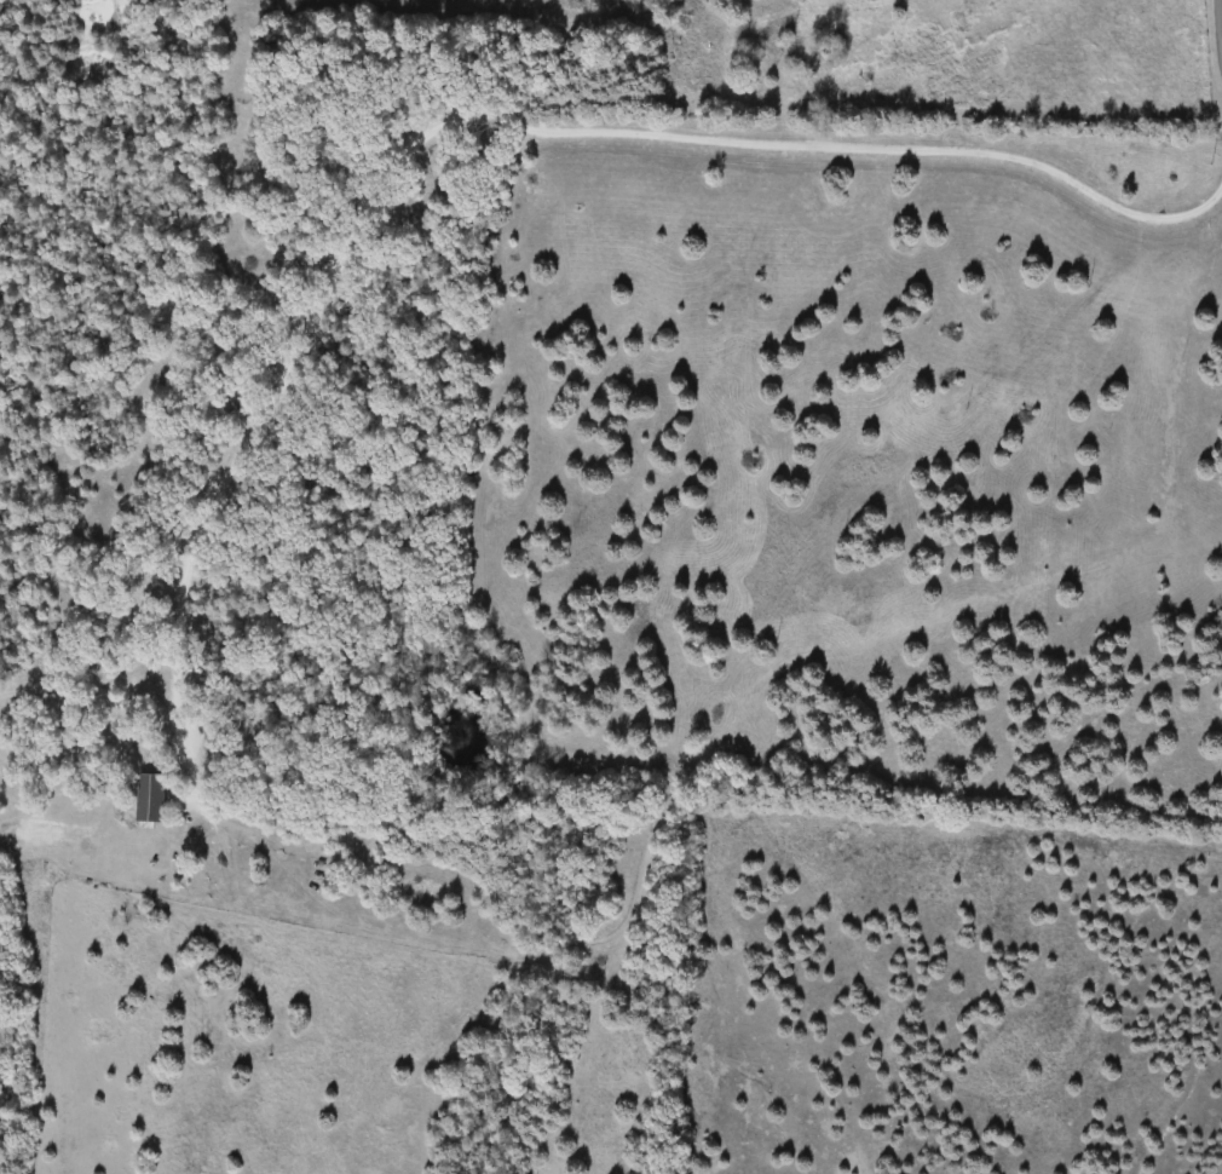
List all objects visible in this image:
road: (1216, 34)
road: (457, 122)
building: (146, 798)

